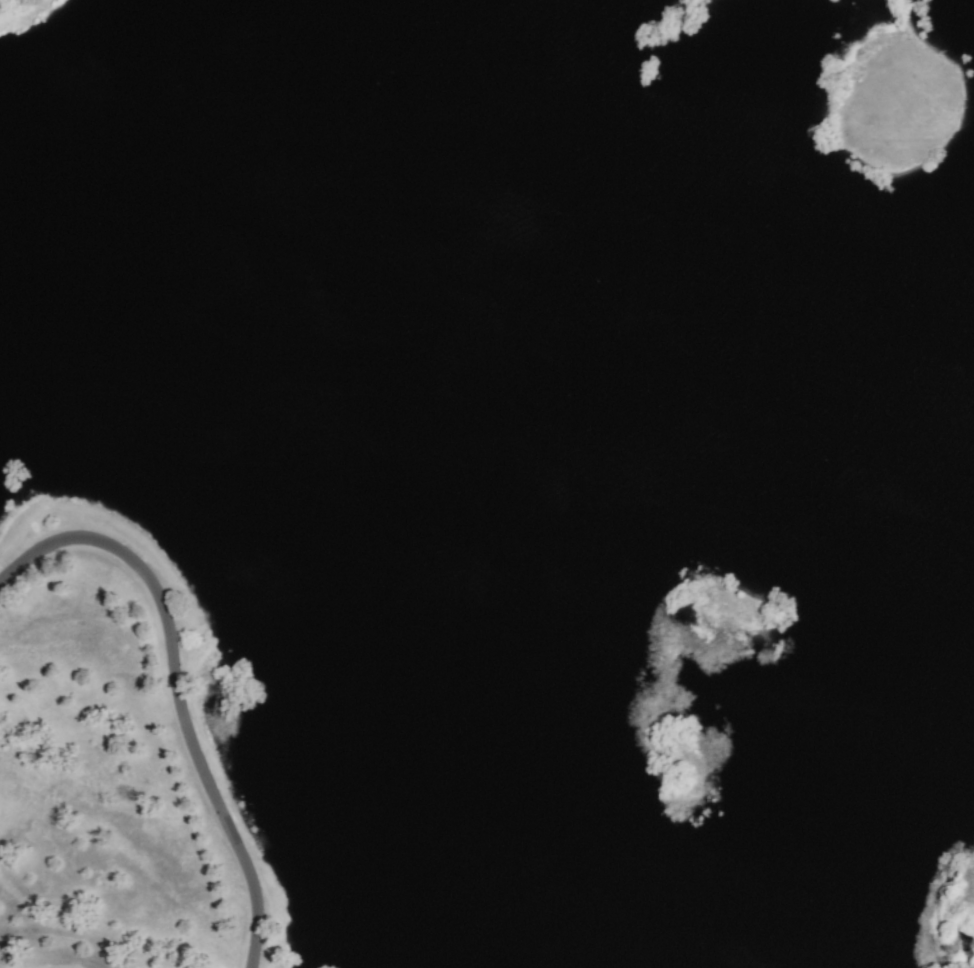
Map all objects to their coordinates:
road: (178, 690)

